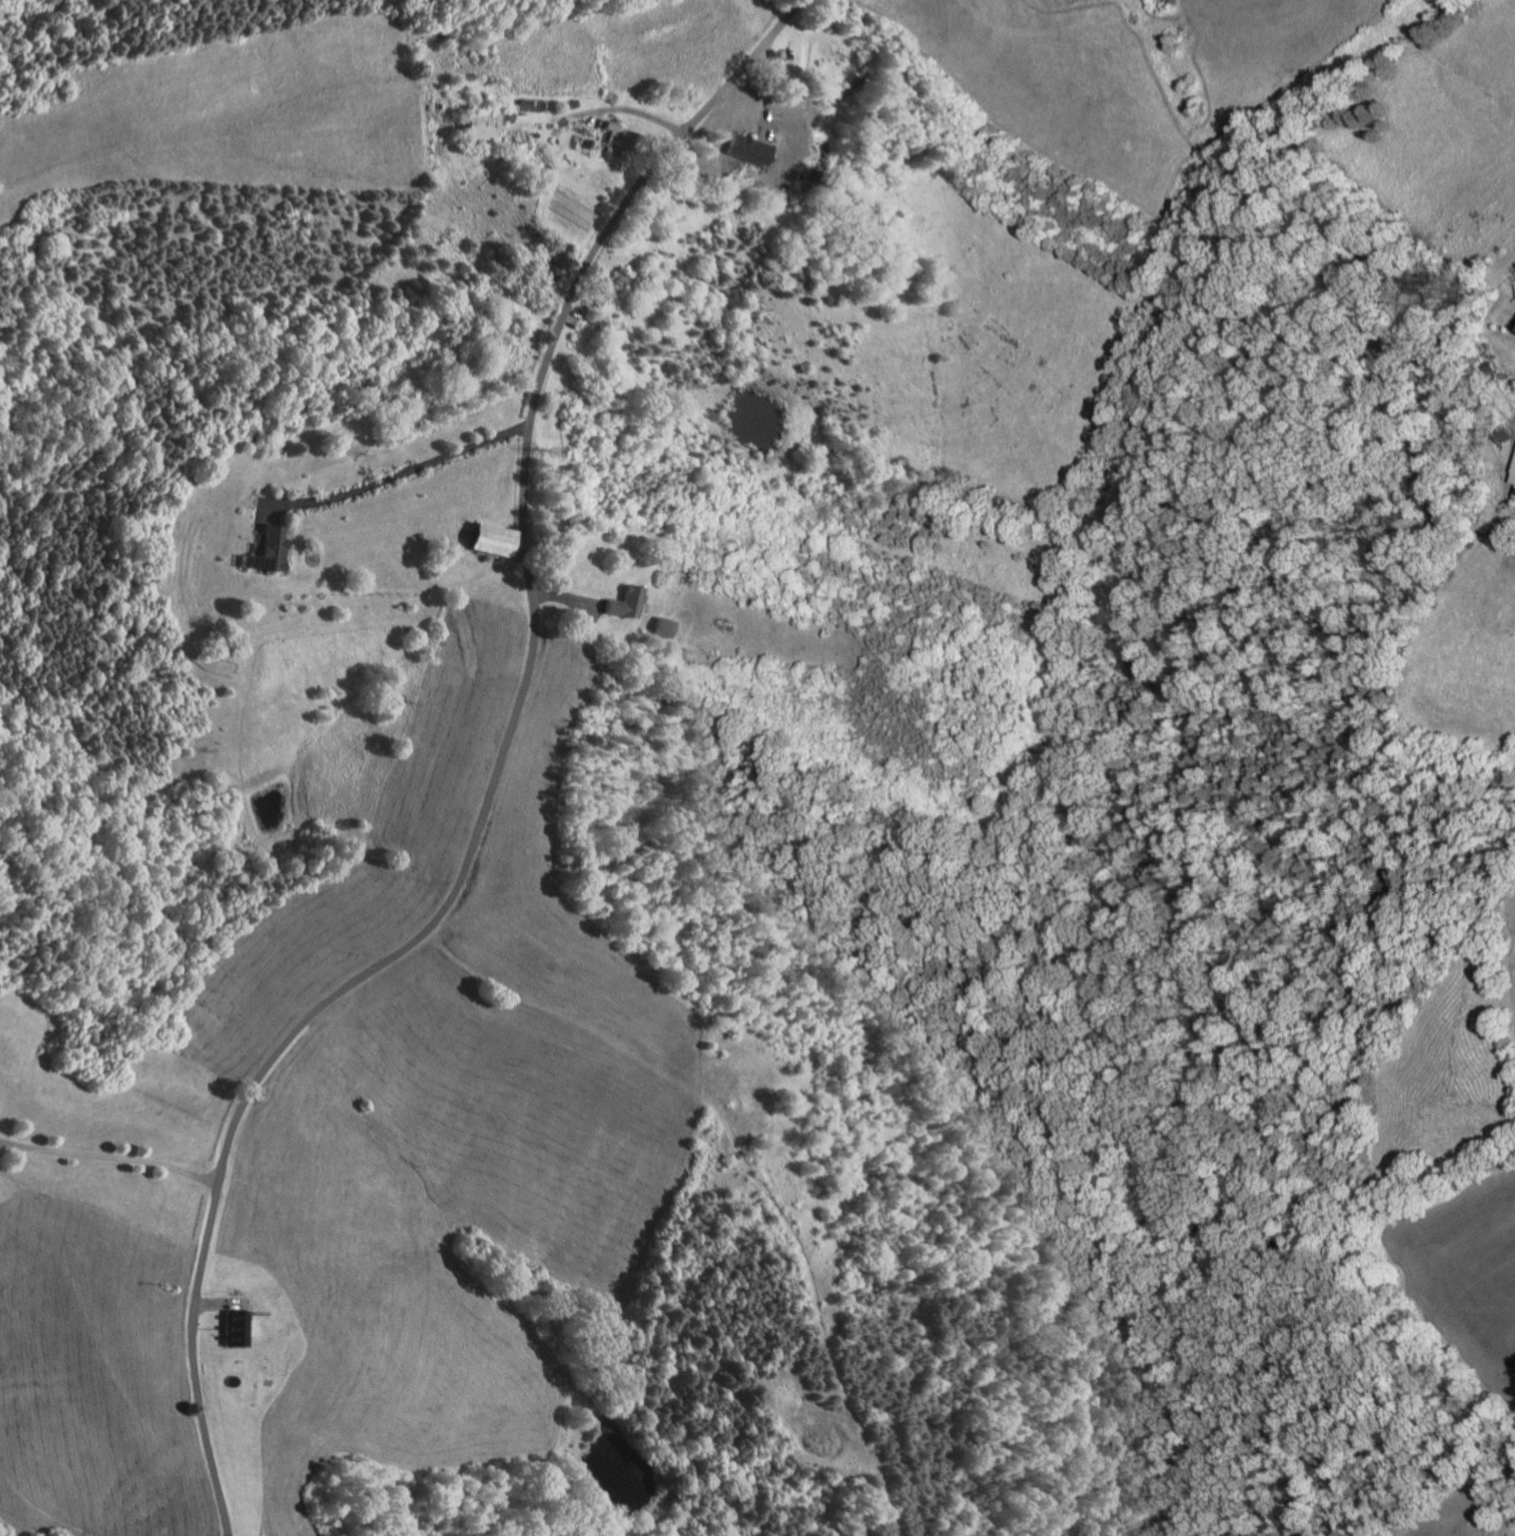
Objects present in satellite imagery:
road: (764, 96)
building: (569, 105)
road: (631, 111)
building: (479, 124)
building: (777, 135)
building: (617, 139)
building: (587, 143)
building: (733, 150)
building: (499, 162)
building: (527, 165)
building: (540, 170)
building: (607, 289)
road: (565, 318)
building: (593, 325)
road: (1505, 374)
building: (1514, 469)
road: (387, 477)
building: (1513, 479)
road: (287, 533)
building: (486, 540)
road: (514, 548)
building: (264, 550)
road: (563, 598)
building: (617, 600)
road: (579, 607)
building: (655, 625)
road: (493, 775)
road: (0, 1143)
road: (110, 1156)
road: (220, 1303)
road: (225, 1316)
road: (211, 1328)
building: (236, 1328)

